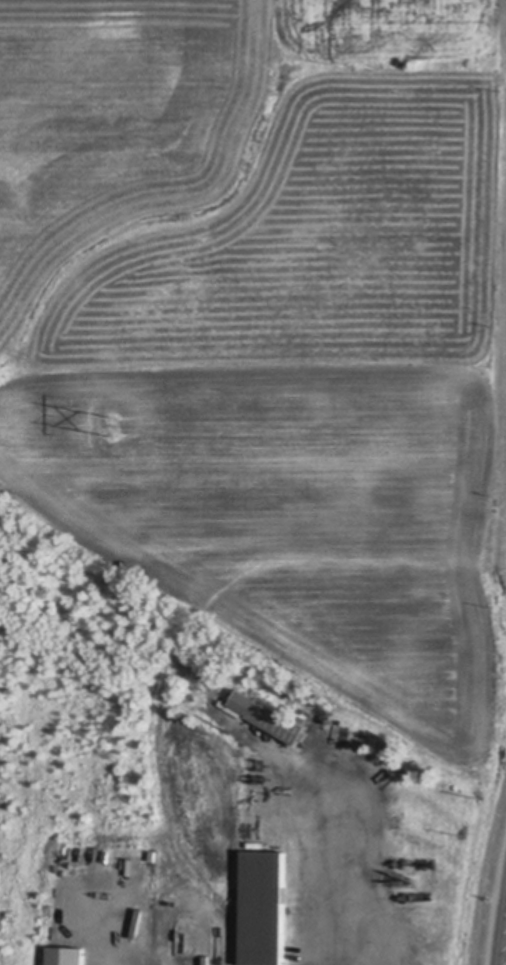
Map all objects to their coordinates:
power tower: (112, 427)
building: (194, 692)
building: (271, 722)
road: (339, 863)
building: (264, 911)
building: (67, 958)

